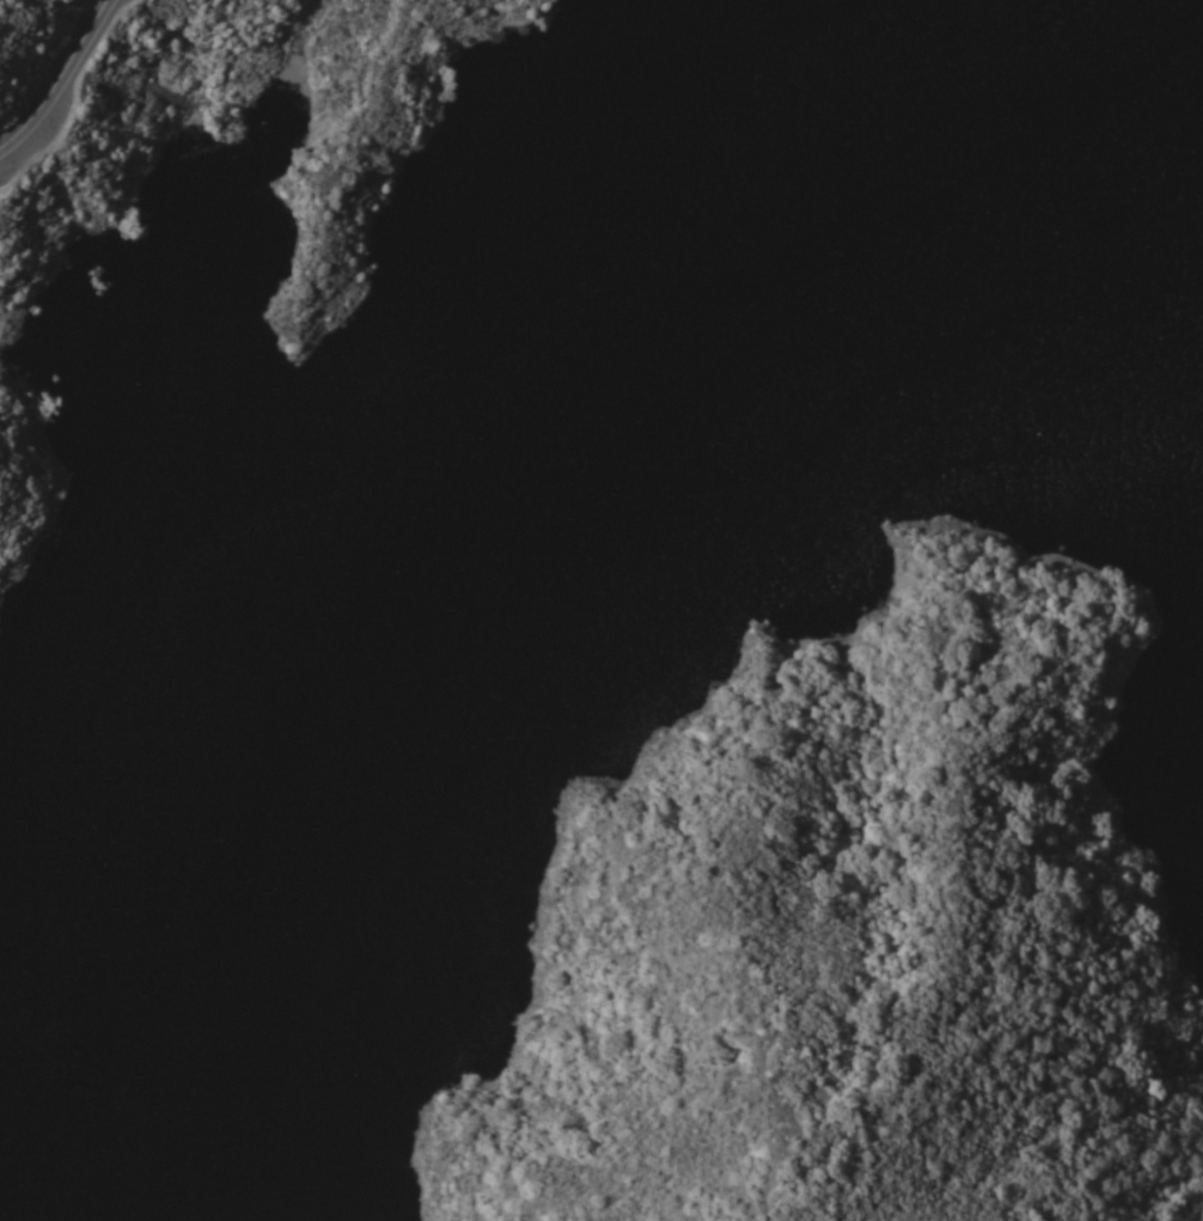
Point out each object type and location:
road: (59, 77)

